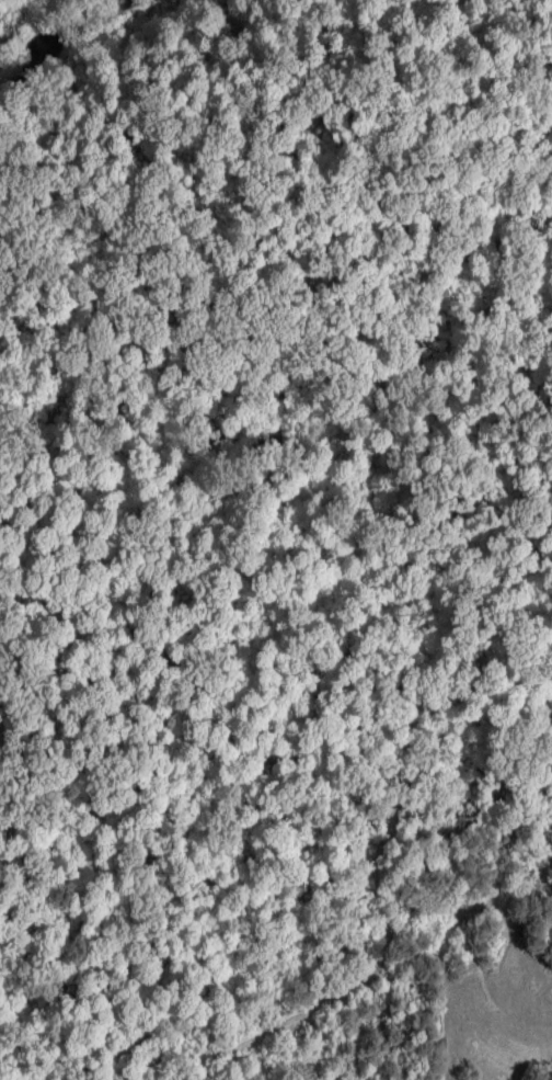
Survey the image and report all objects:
river: (94, 42)

